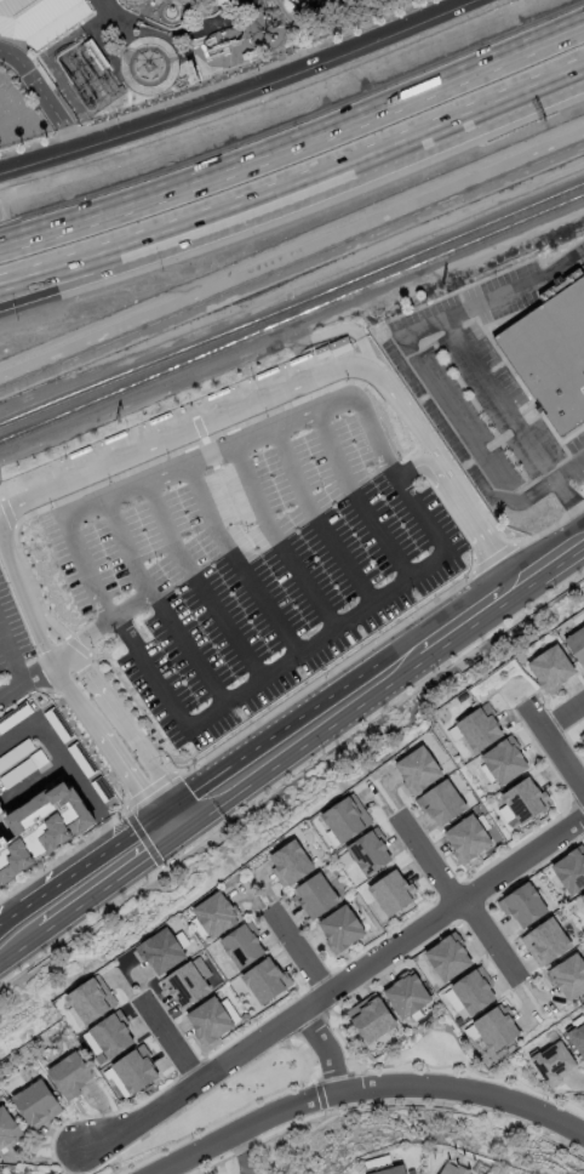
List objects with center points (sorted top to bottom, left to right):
building: (326, 1)
building: (217, 2)
building: (256, 8)
road: (104, 11)
building: (38, 18)
railway: (333, 32)
road: (185, 35)
road: (95, 36)
building: (119, 49)
theme park: (153, 52)
building: (95, 53)
building: (190, 70)
road: (44, 78)
road: (236, 93)
road: (40, 97)
parking lot: (17, 114)
road: (296, 144)
road: (365, 165)
road: (70, 266)
road: (71, 281)
railway: (292, 308)
railway: (291, 323)
road: (469, 354)
building: (552, 354)
road: (307, 363)
road: (300, 388)
road: (454, 420)
road: (197, 461)
road: (568, 467)
road: (354, 501)
road: (29, 513)
road: (314, 522)
road: (276, 542)
parking lot: (222, 552)
road: (549, 558)
road: (235, 564)
road: (196, 586)
road: (25, 605)
road: (158, 606)
road: (104, 627)
road: (319, 642)
building: (576, 642)
road: (11, 659)
building: (549, 668)
road: (29, 682)
road: (337, 703)
road: (563, 717)
building: (476, 728)
road: (127, 729)
road: (18, 736)
building: (580, 736)
road: (107, 746)
road: (552, 748)
building: (502, 760)
building: (418, 765)
road: (82, 787)
building: (443, 799)
building: (521, 800)
building: (1, 810)
traffic signals: (185, 811)
building: (344, 819)
building: (40, 828)
traffic signals: (162, 828)
building: (465, 838)
building: (368, 850)
building: (290, 862)
building: (569, 868)
road: (96, 873)
building: (391, 890)
building: (314, 895)
road: (462, 896)
building: (582, 896)
building: (522, 904)
building: (214, 916)
building: (339, 928)
road: (16, 929)
building: (544, 941)
building: (241, 944)
building: (161, 950)
road: (298, 952)
building: (447, 953)
building: (567, 974)
building: (265, 980)
building: (187, 981)
road: (332, 988)
building: (469, 991)
building: (406, 995)
building: (90, 1001)
building: (370, 1016)
building: (208, 1020)
building: (492, 1027)
building: (108, 1033)
building: (576, 1037)
road: (166, 1039)
road: (330, 1048)
building: (99, 1058)
building: (551, 1062)
building: (131, 1070)
building: (69, 1073)
road: (366, 1092)
building: (35, 1102)
building: (8, 1128)
road: (244, 1152)
building: (382, 1166)
building: (453, 1169)

